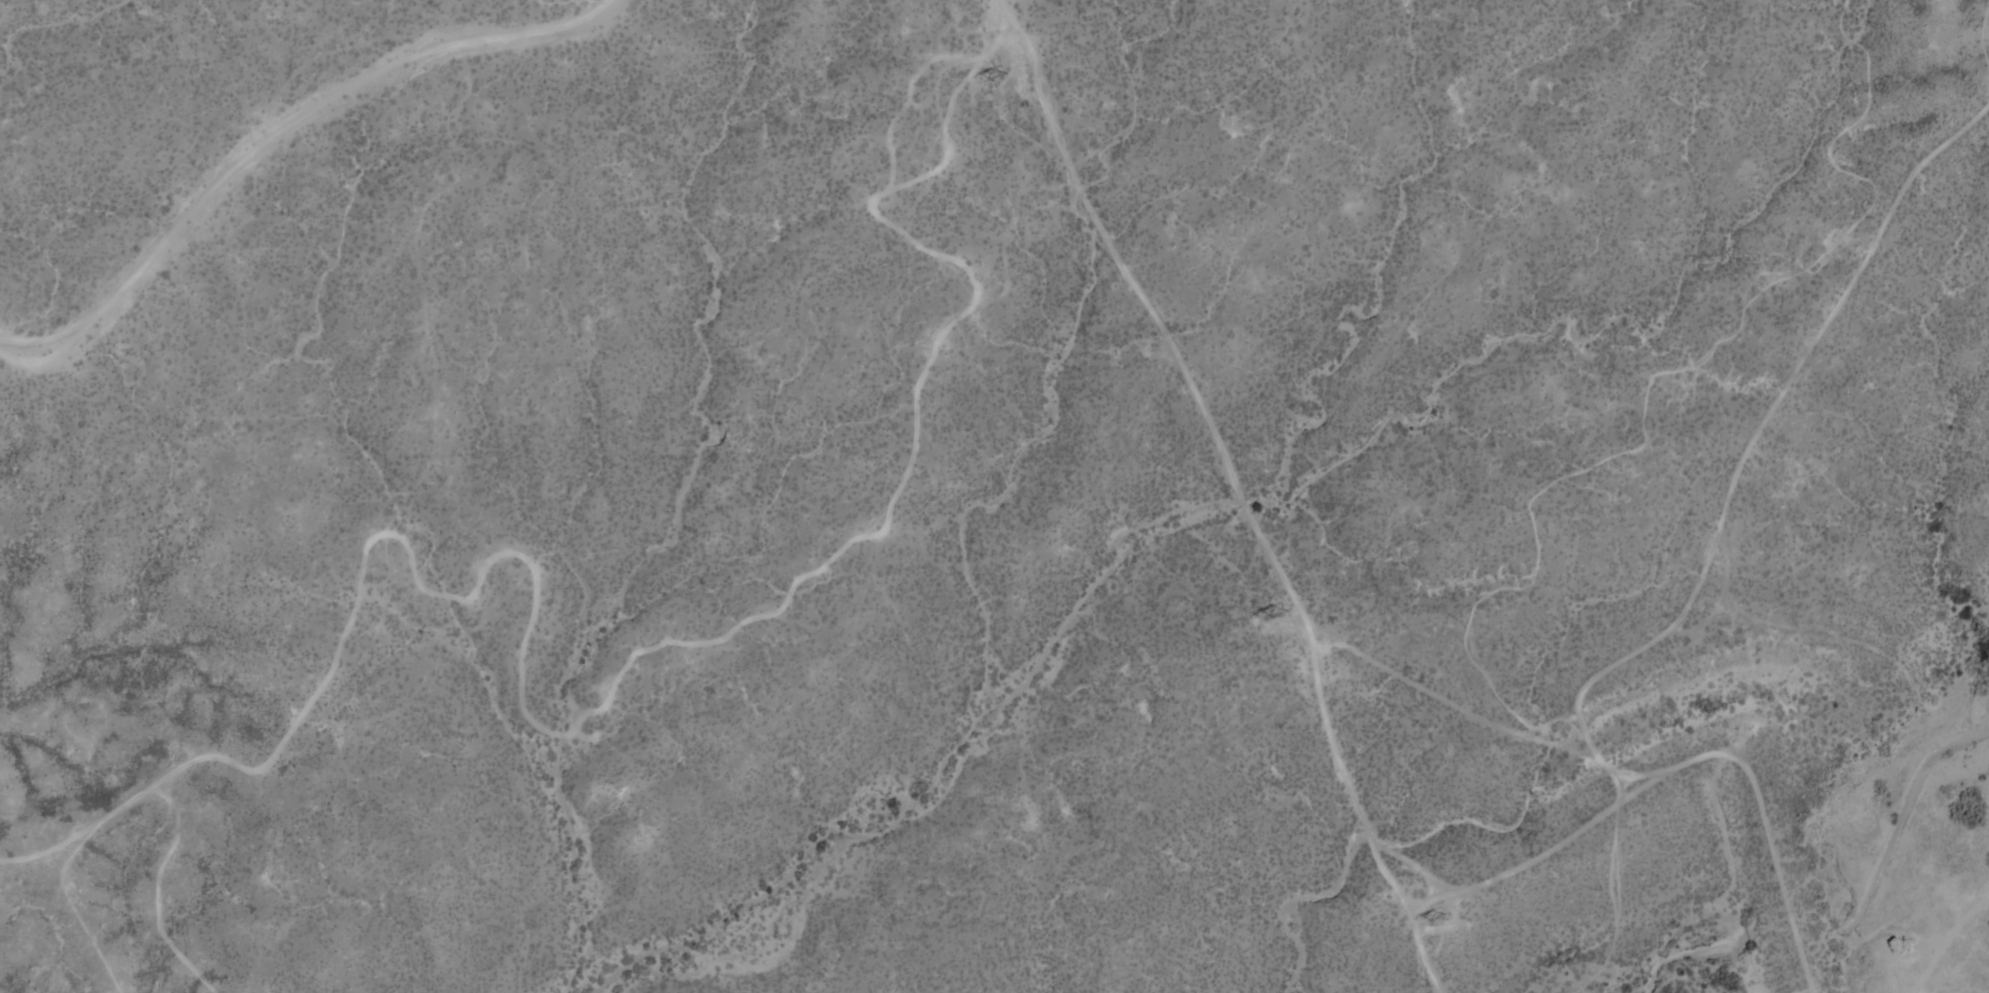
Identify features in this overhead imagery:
road: (1980, 39)
power tower: (999, 75)
road: (282, 129)
road: (1740, 457)
road: (1238, 489)
power tower: (1280, 611)
road: (1677, 765)
dam: (1767, 816)
power tower: (1439, 917)

